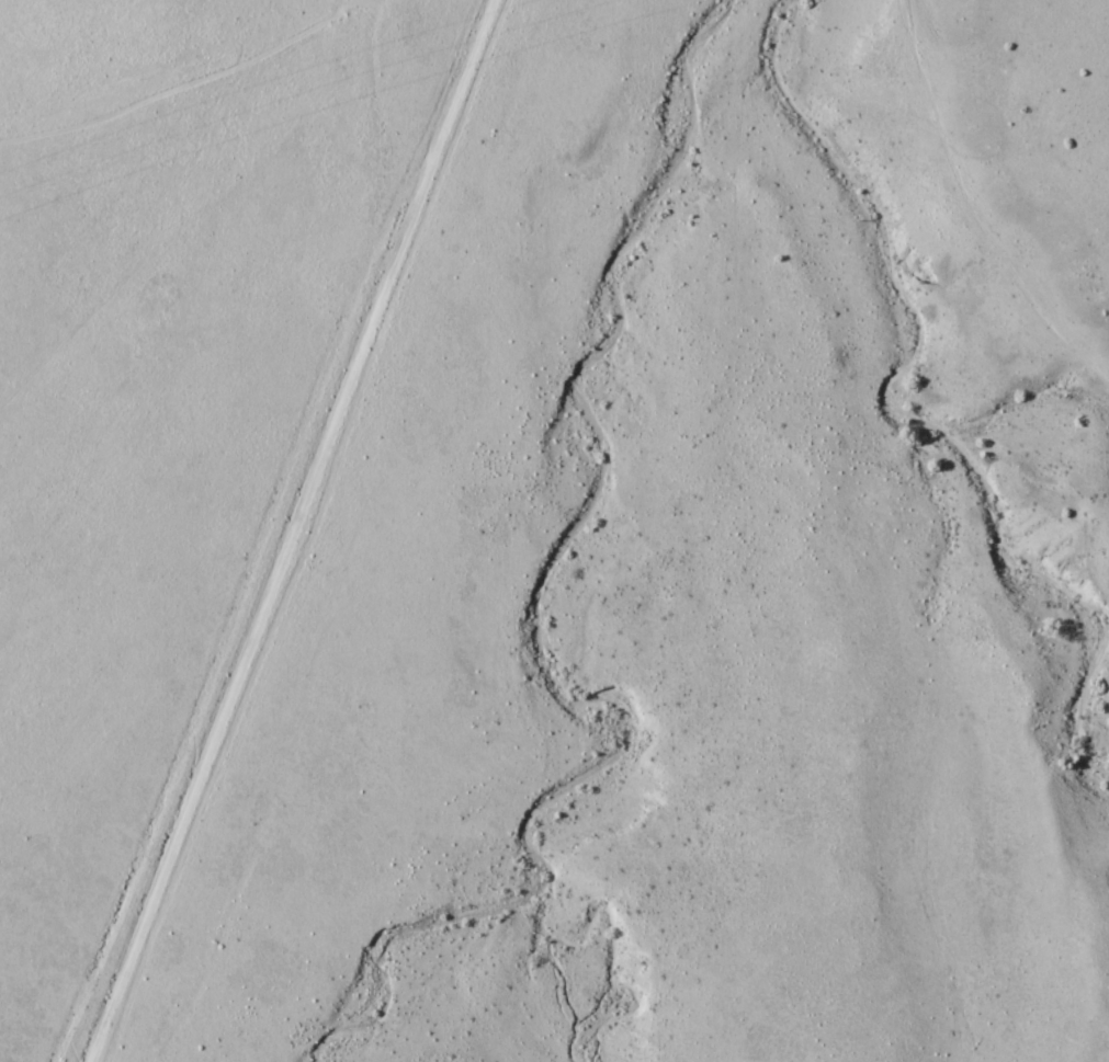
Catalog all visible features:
road: (180, 49)
road: (375, 122)
road: (443, 122)
road: (194, 213)
road: (242, 653)

